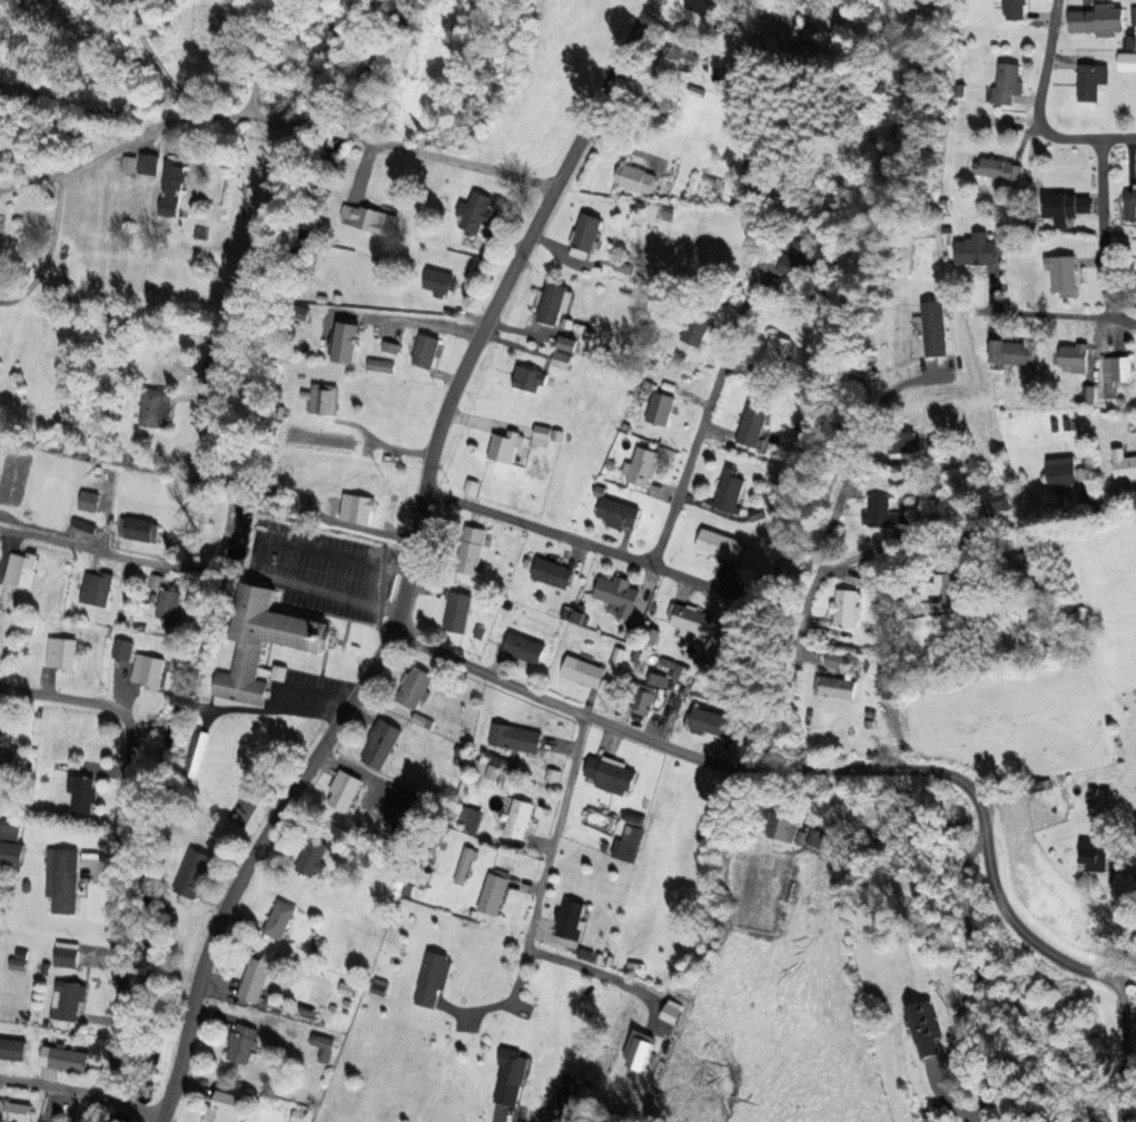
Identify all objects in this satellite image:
building: (701, 7)
building: (1014, 10)
building: (1133, 16)
building: (1096, 20)
road: (259, 56)
building: (676, 58)
road: (157, 60)
building: (1126, 62)
building: (1089, 81)
building: (1005, 82)
road: (1043, 108)
road: (158, 125)
road: (337, 130)
building: (753, 155)
road: (451, 158)
building: (127, 164)
building: (147, 164)
building: (997, 169)
building: (633, 178)
building: (169, 189)
building: (1129, 205)
building: (1065, 207)
building: (472, 216)
building: (367, 219)
road: (1087, 227)
building: (583, 237)
road: (51, 248)
building: (974, 250)
building: (793, 260)
building: (1061, 275)
building: (438, 283)
building: (53, 301)
building: (553, 304)
building: (299, 312)
road: (1015, 315)
road: (1110, 315)
road: (407, 323)
building: (932, 328)
building: (693, 329)
building: (343, 343)
building: (564, 344)
building: (388, 347)
building: (422, 351)
building: (773, 352)
building: (1011, 353)
building: (1073, 358)
building: (560, 361)
building: (378, 366)
building: (1114, 374)
building: (527, 380)
building: (1087, 395)
building: (320, 398)
building: (154, 407)
building: (659, 409)
building: (750, 424)
building: (540, 436)
road: (379, 442)
building: (902, 442)
building: (503, 446)
building: (639, 467)
building: (1124, 467)
building: (1063, 472)
road: (843, 486)
building: (728, 491)
building: (87, 501)
building: (992, 502)
building: (355, 509)
building: (616, 513)
building: (881, 514)
building: (137, 530)
road: (660, 538)
building: (719, 545)
building: (468, 551)
road: (856, 554)
road: (120, 557)
road: (409, 563)
building: (1014, 567)
building: (19, 570)
building: (550, 573)
building: (154, 582)
building: (95, 589)
road: (323, 589)
building: (949, 590)
building: (615, 594)
building: (167, 603)
building: (843, 609)
building: (456, 613)
building: (688, 620)
building: (310, 648)
building: (522, 648)
building: (120, 650)
building: (59, 654)
building: (616, 657)
building: (832, 660)
building: (146, 671)
building: (273, 672)
building: (581, 672)
building: (656, 680)
building: (885, 683)
building: (414, 688)
building: (833, 688)
building: (642, 700)
building: (711, 725)
building: (513, 738)
building: (378, 745)
building: (194, 755)
building: (6, 760)
road: (800, 768)
building: (484, 769)
building: (607, 775)
building: (342, 791)
building: (80, 795)
building: (405, 816)
building: (467, 818)
building: (517, 819)
building: (779, 827)
building: (9, 828)
building: (808, 838)
road: (112, 840)
building: (625, 844)
building: (10, 854)
building: (1091, 855)
building: (310, 858)
building: (464, 865)
building: (191, 874)
road: (539, 882)
building: (61, 883)
building: (492, 895)
building: (567, 919)
building: (277, 921)
road: (1125, 929)
building: (65, 955)
building: (17, 961)
road: (602, 975)
road: (977, 978)
building: (431, 980)
building: (253, 981)
building: (66, 1001)
building: (925, 1028)
road: (1123, 1042)
building: (239, 1043)
building: (320, 1046)
building: (11, 1049)
building: (636, 1051)
building: (61, 1059)
building: (508, 1077)
road: (51, 1086)
road: (109, 1098)
road: (130, 1106)
building: (223, 1106)
building: (555, 1109)
building: (13, 1112)
building: (297, 1115)
road: (502, 1115)
road: (154, 1118)

